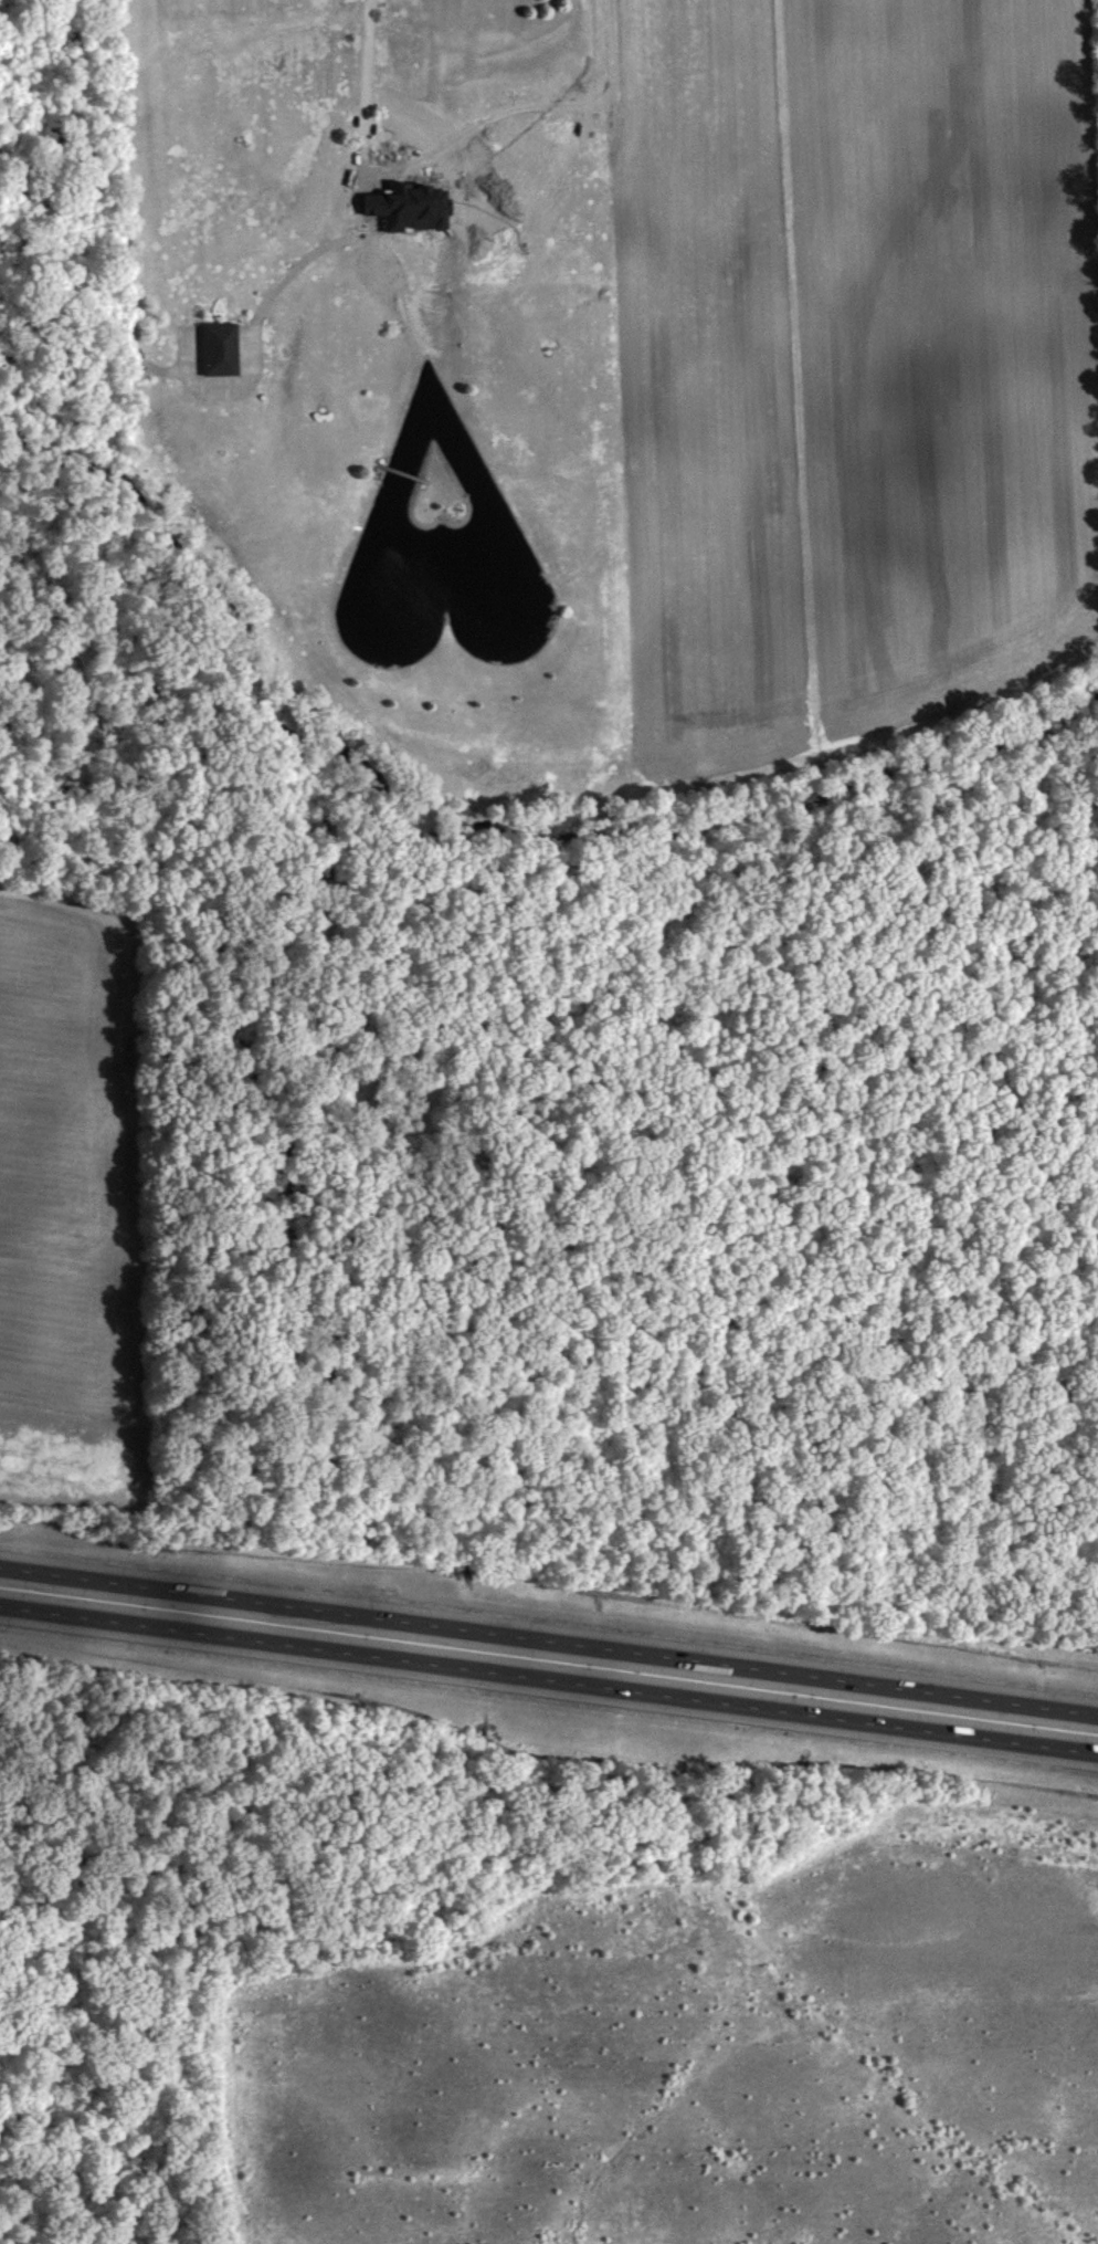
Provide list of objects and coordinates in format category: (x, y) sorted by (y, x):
road: (367, 196)
building: (223, 349)
crop: (853, 367)
road: (549, 1642)
road: (549, 1675)

